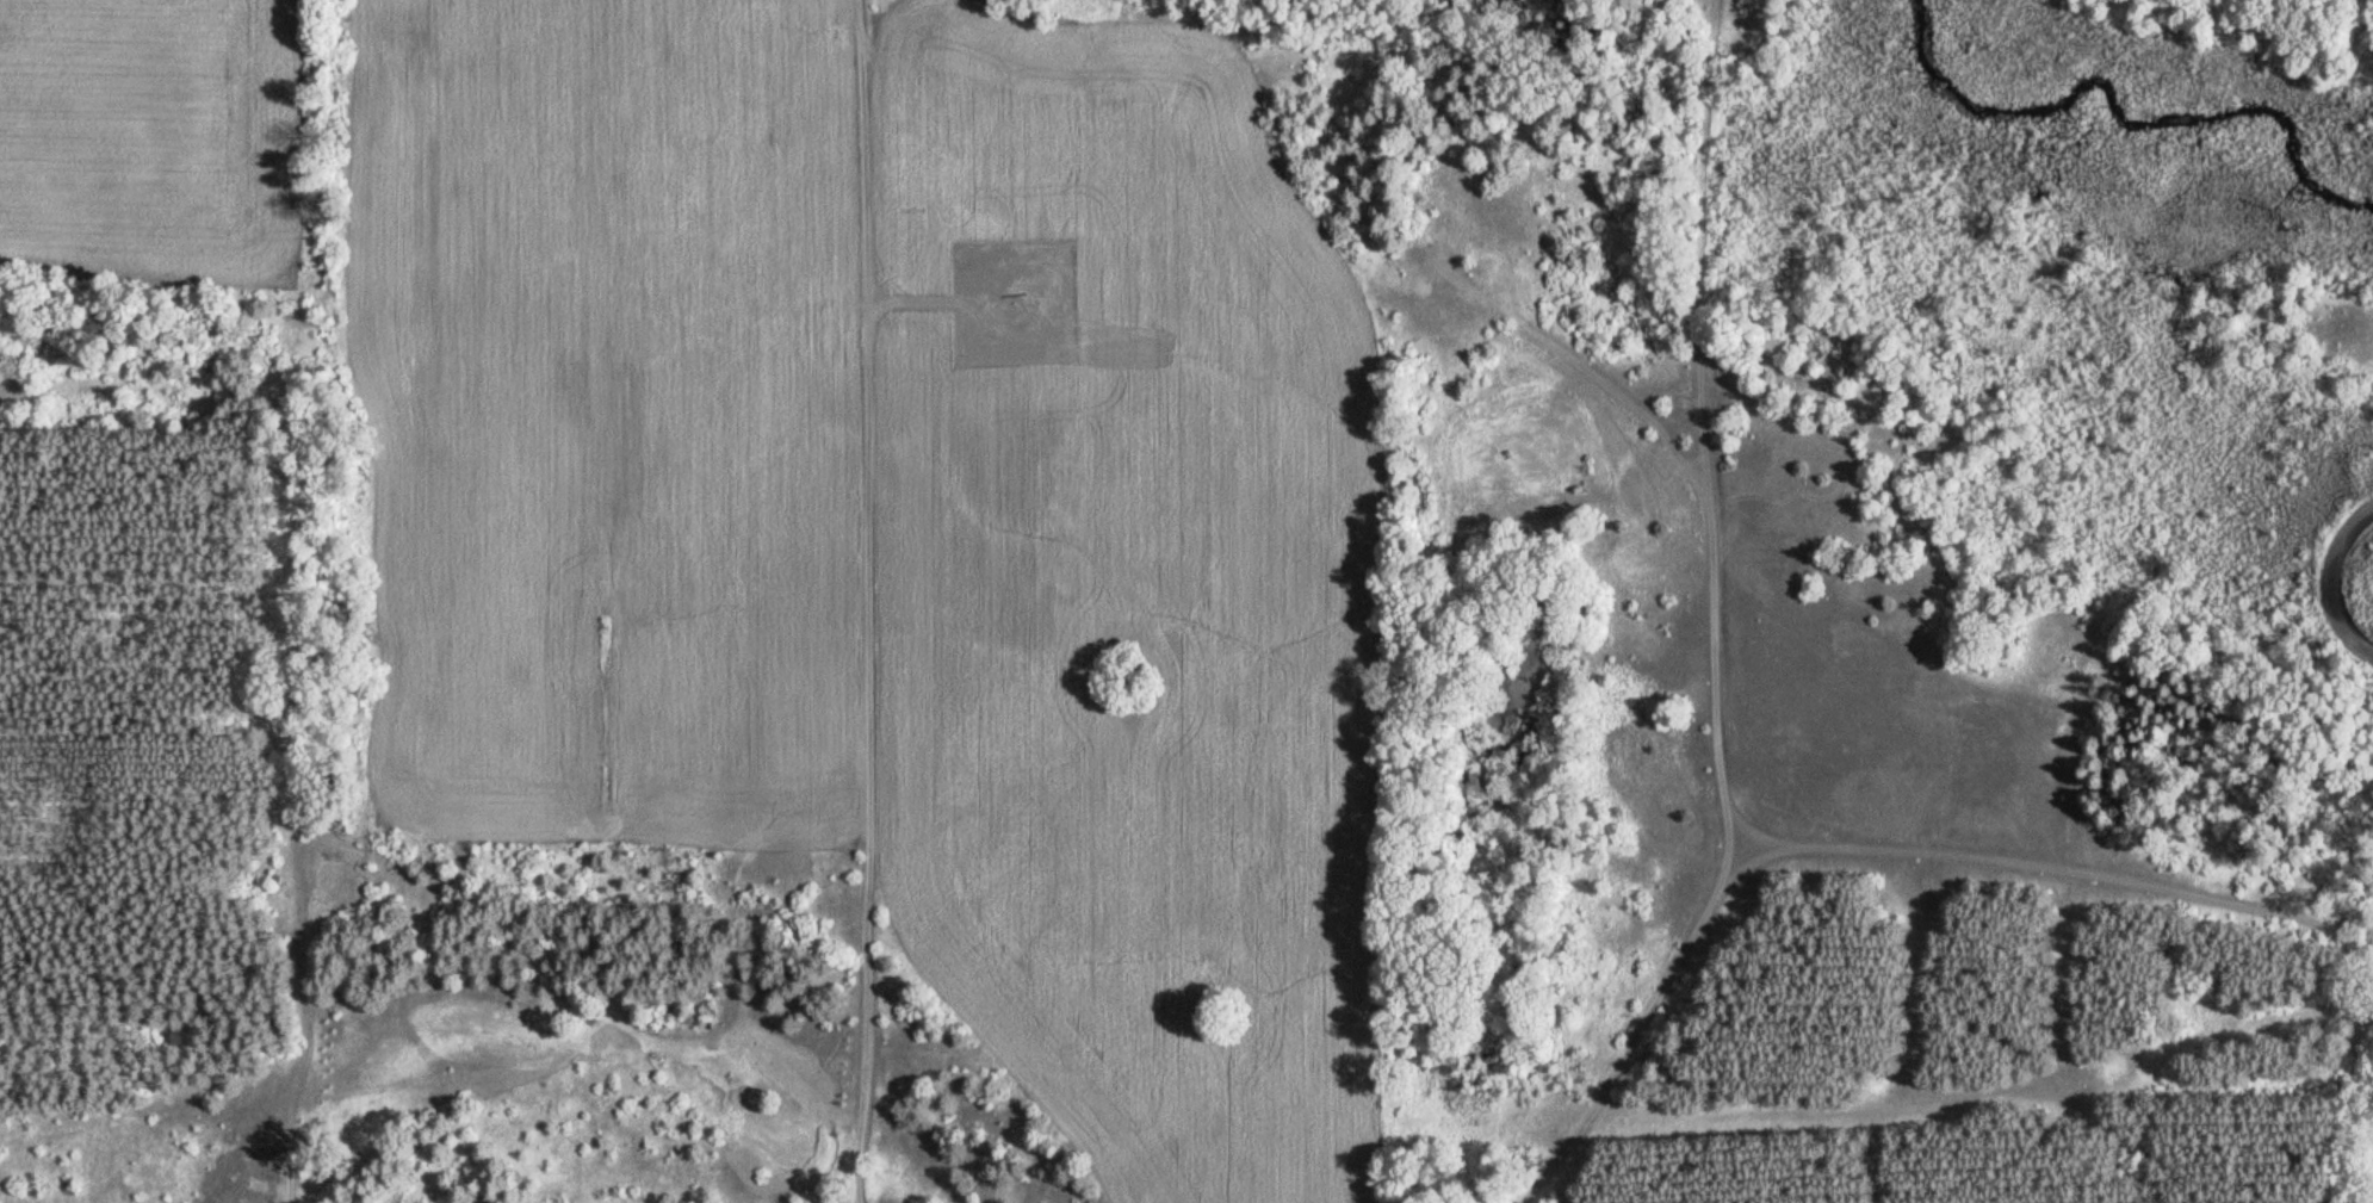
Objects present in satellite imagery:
road: (290, 108)
road: (1305, 193)
road: (2329, 579)
road: (854, 601)
road: (1709, 752)
road: (1646, 1040)

